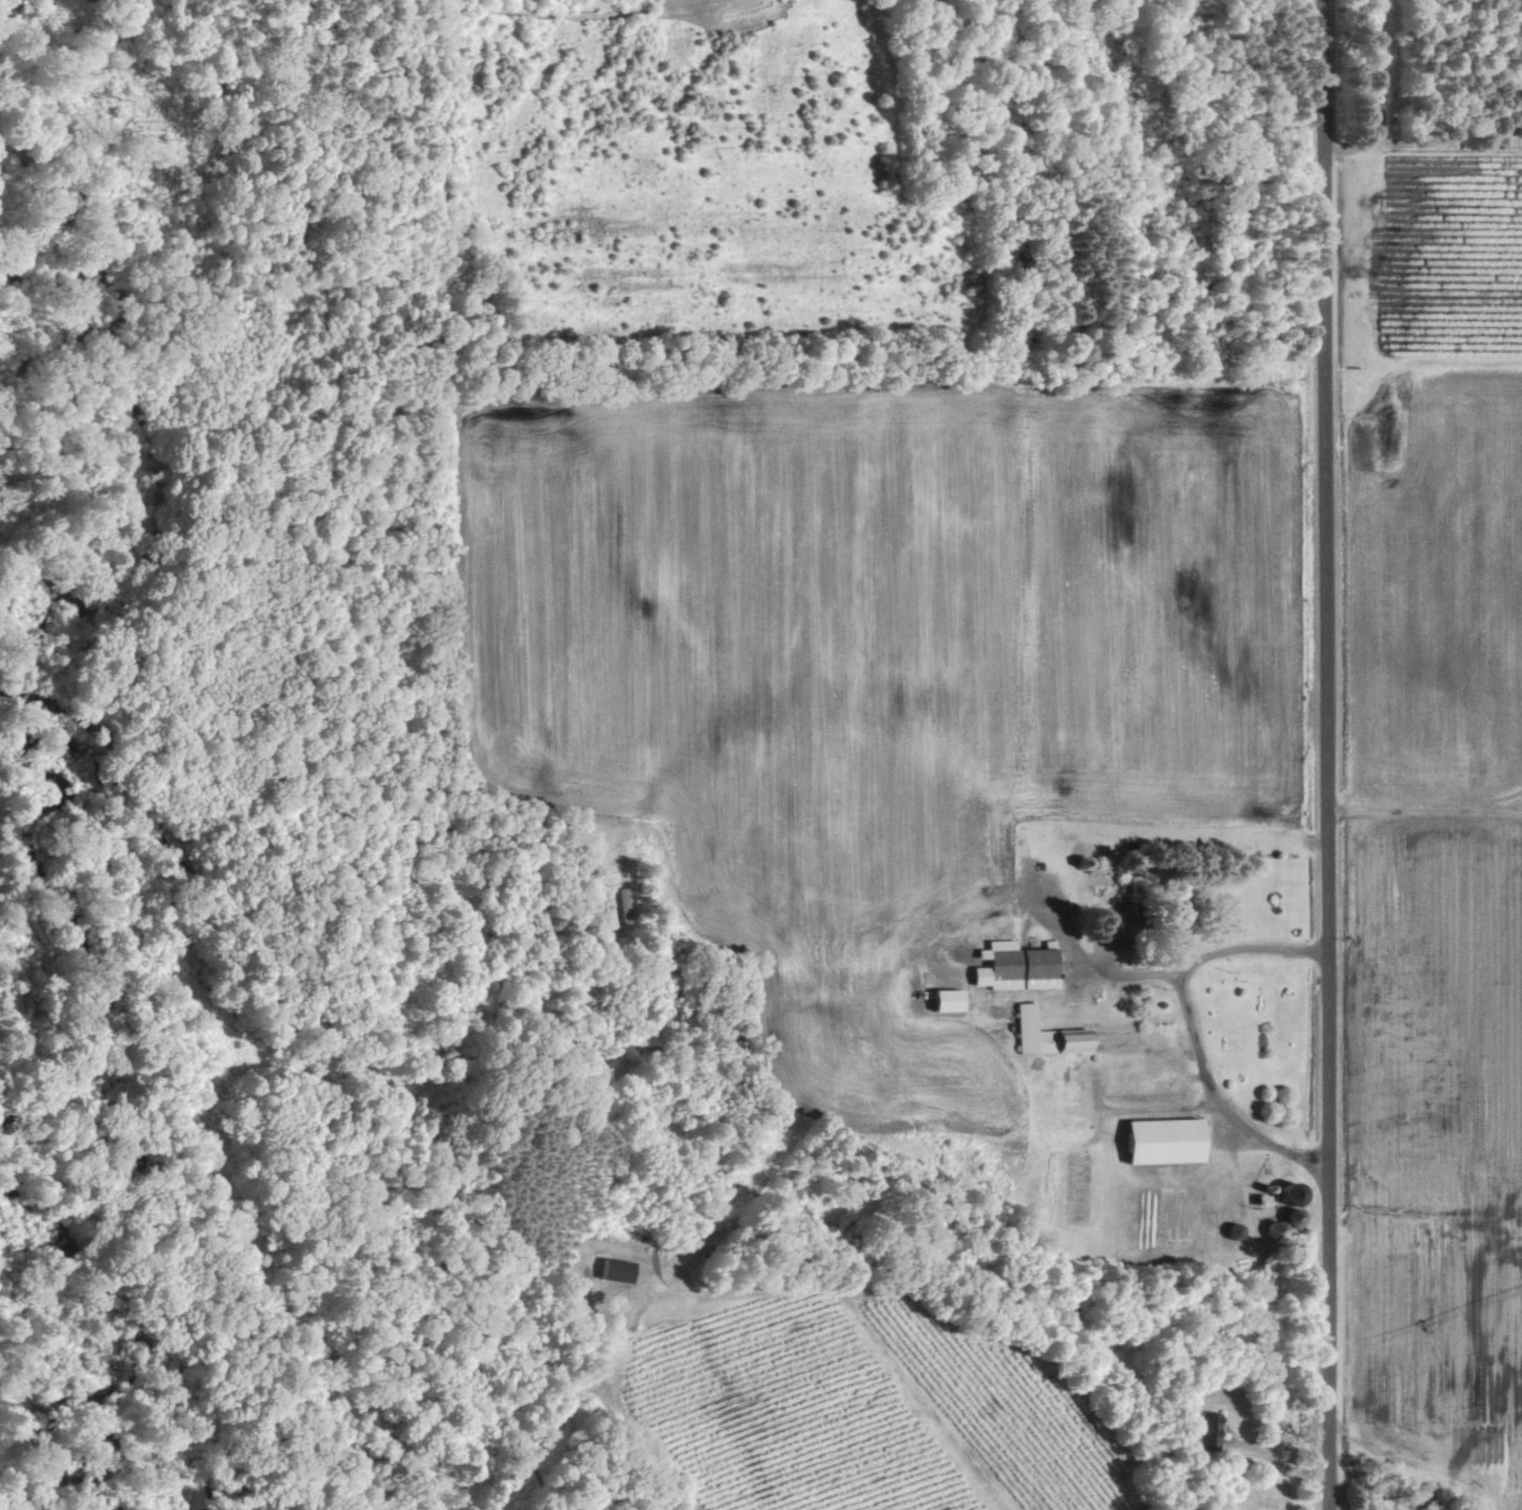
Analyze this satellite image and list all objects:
road: (1328, 754)
building: (624, 905)
building: (1020, 966)
road: (1157, 972)
building: (952, 1000)
building: (1050, 1035)
road: (1220, 1101)
building: (1171, 1141)
building: (1267, 1198)
building: (1288, 1223)
building: (622, 1269)
road: (877, 1336)
building: (1212, 1427)
road: (1278, 1464)

